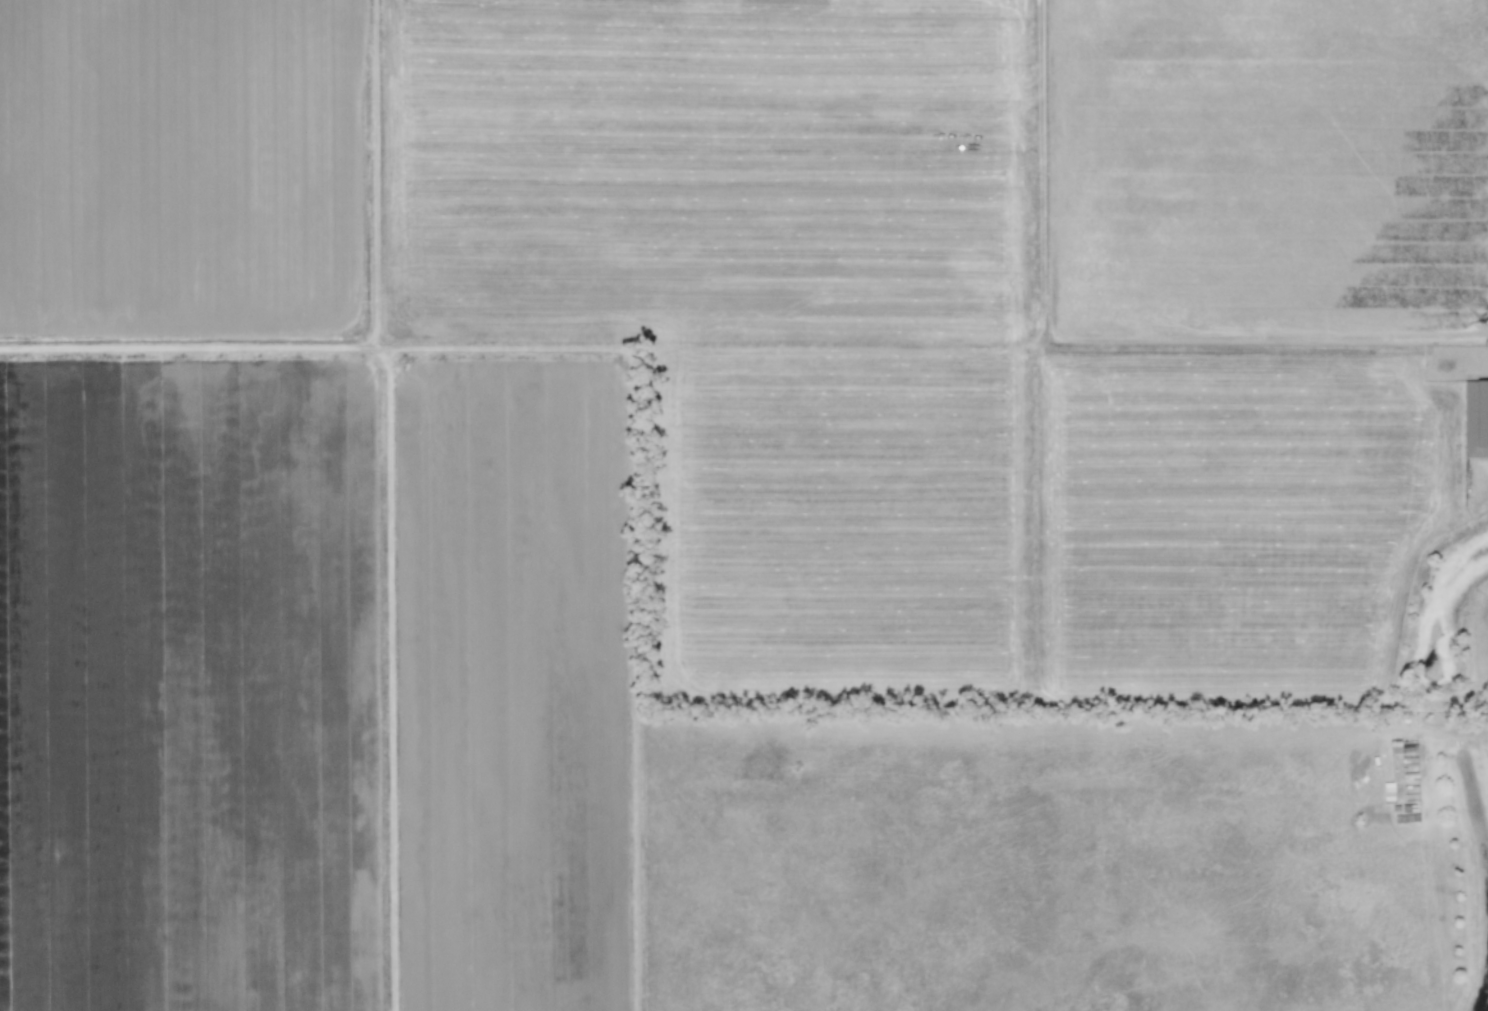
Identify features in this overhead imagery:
building: (1475, 417)
building: (1396, 770)

